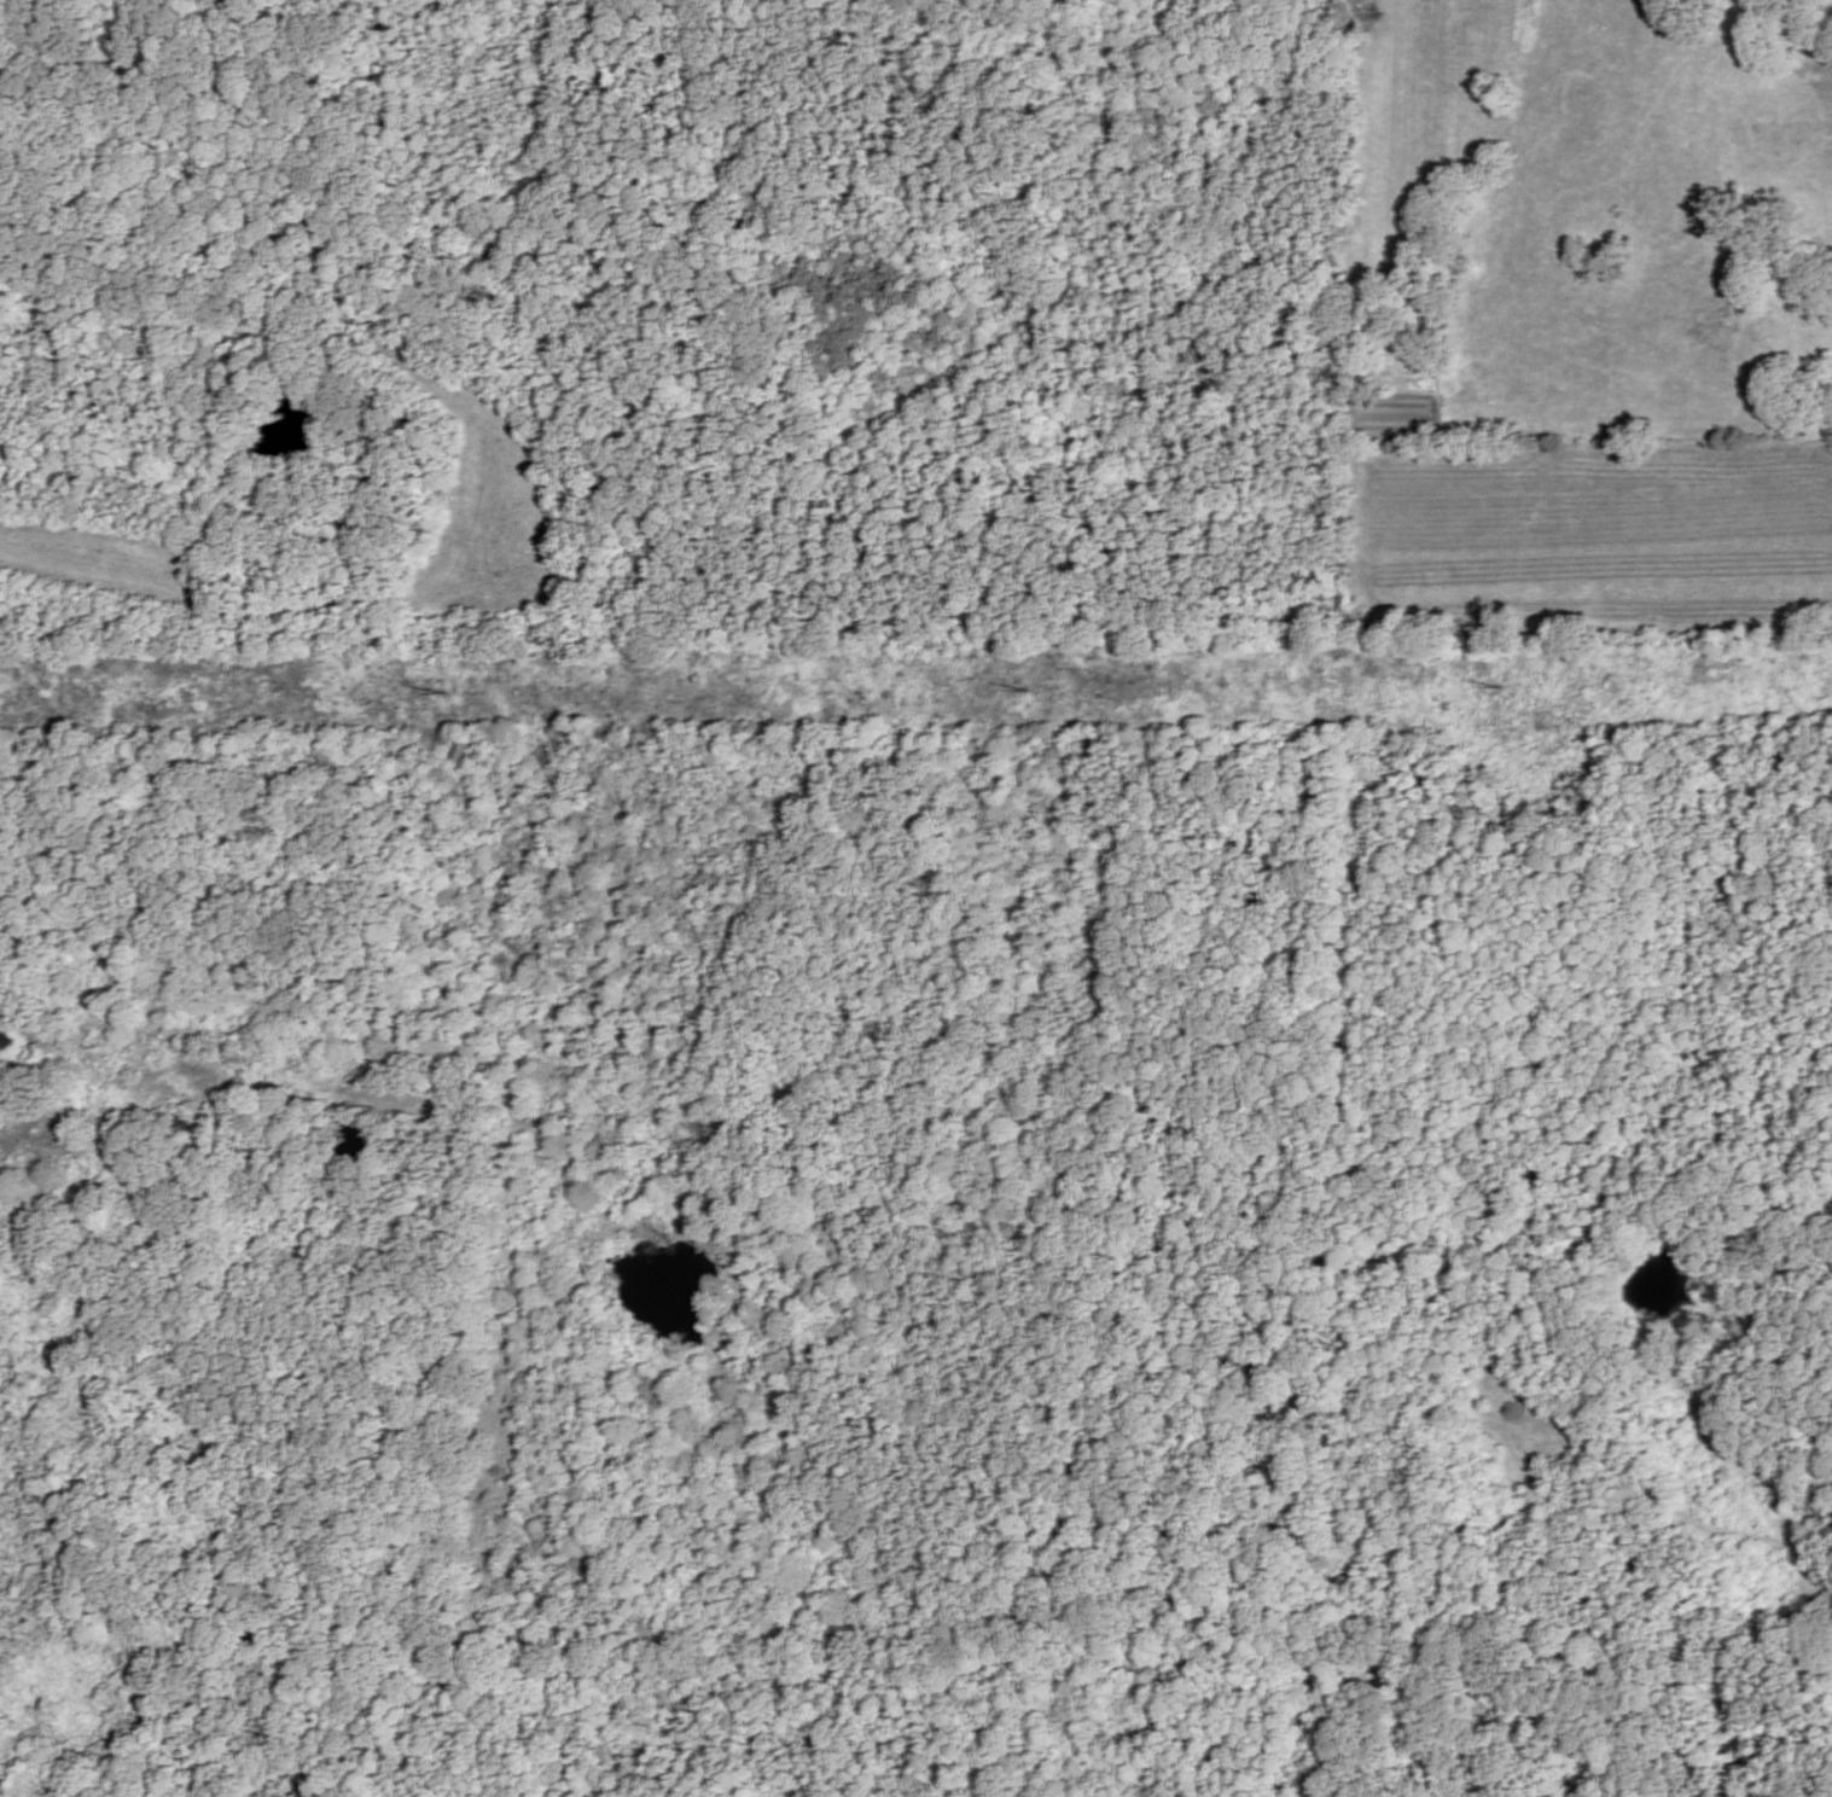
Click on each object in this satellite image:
road: (1755, 434)

